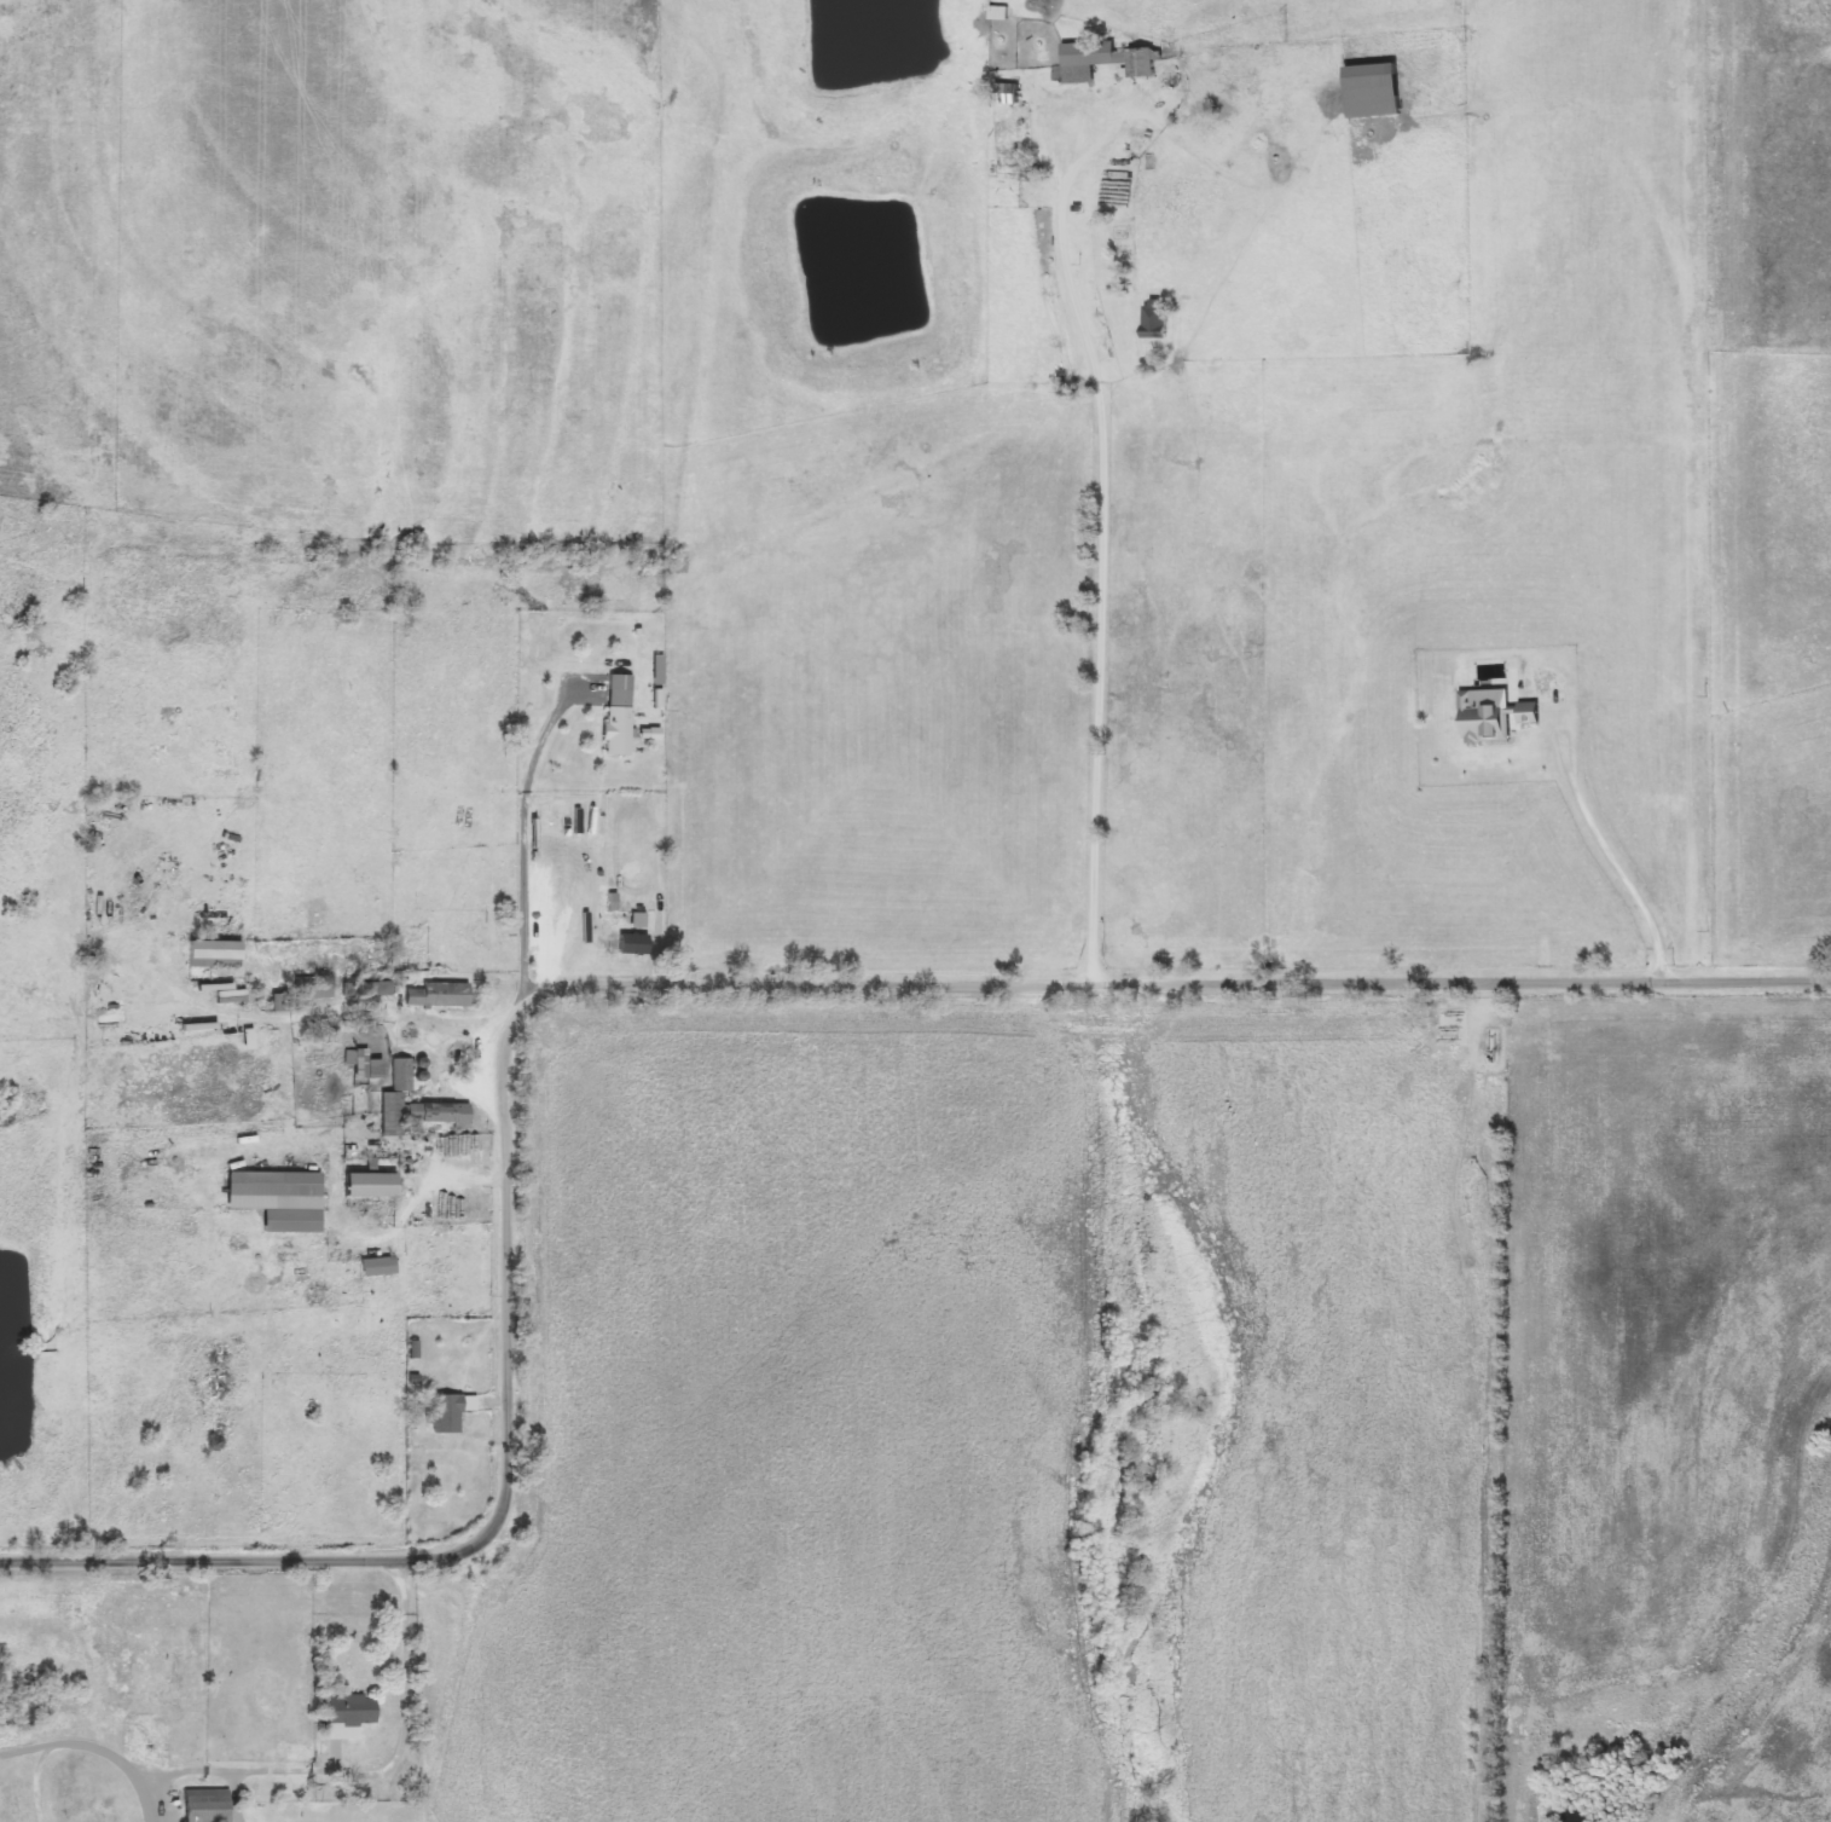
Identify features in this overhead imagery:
building: (1109, 60)
building: (1378, 91)
building: (1010, 93)
building: (1163, 317)
road: (1101, 543)
building: (621, 717)
building: (1499, 718)
road: (693, 781)
road: (515, 844)
road: (1610, 848)
building: (638, 944)
building: (218, 954)
building: (317, 987)
road: (660, 989)
building: (441, 995)
road: (360, 1006)
building: (321, 1055)
building: (370, 1066)
building: (450, 1114)
building: (395, 1116)
building: (376, 1185)
building: (282, 1198)
building: (379, 1266)
road: (1675, 1404)
building: (453, 1411)
building: (354, 1711)
road: (296, 1769)
road: (143, 1792)
building: (209, 1805)

